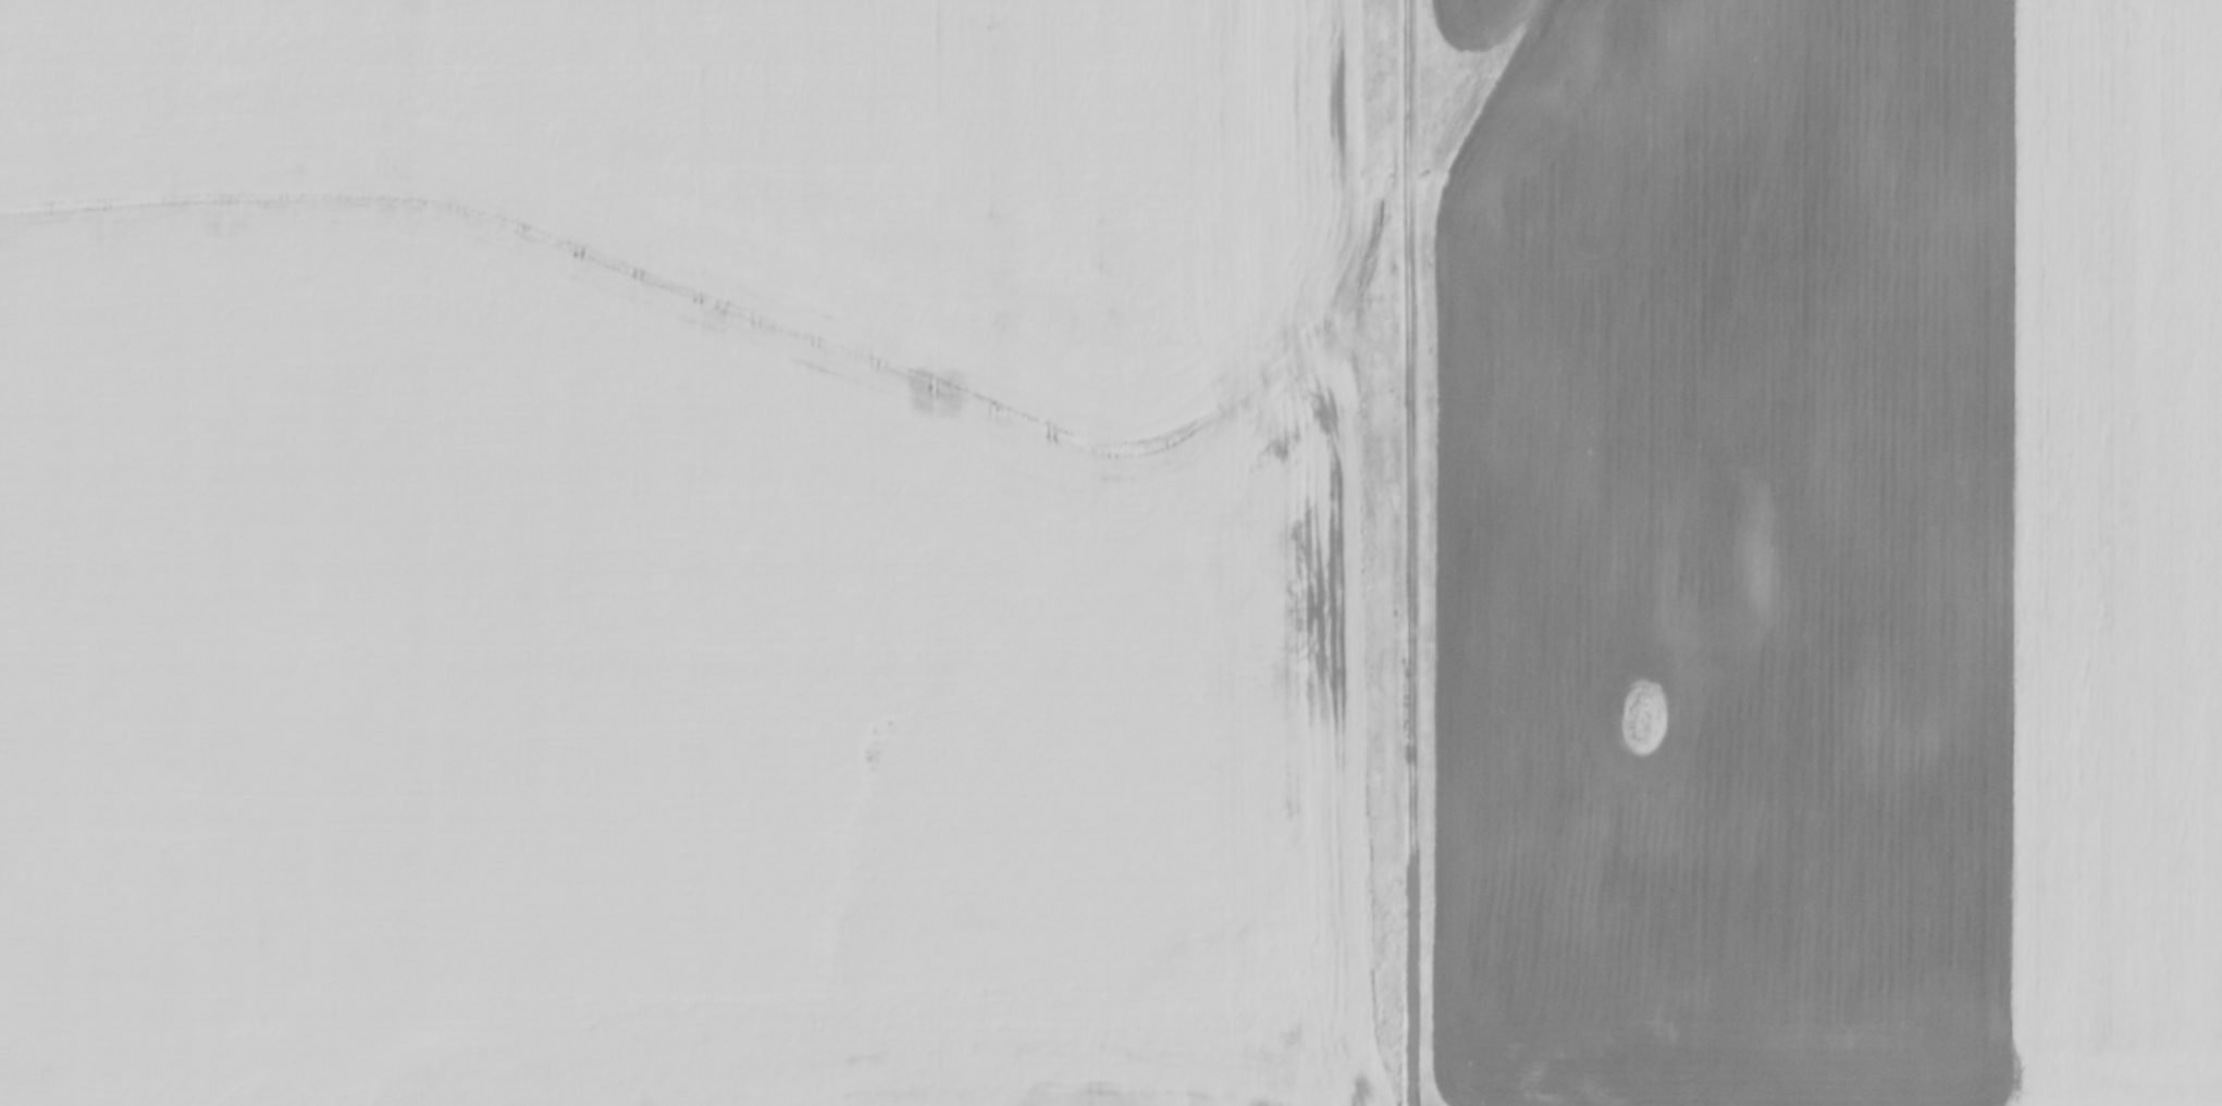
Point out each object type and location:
road: (1410, 552)

